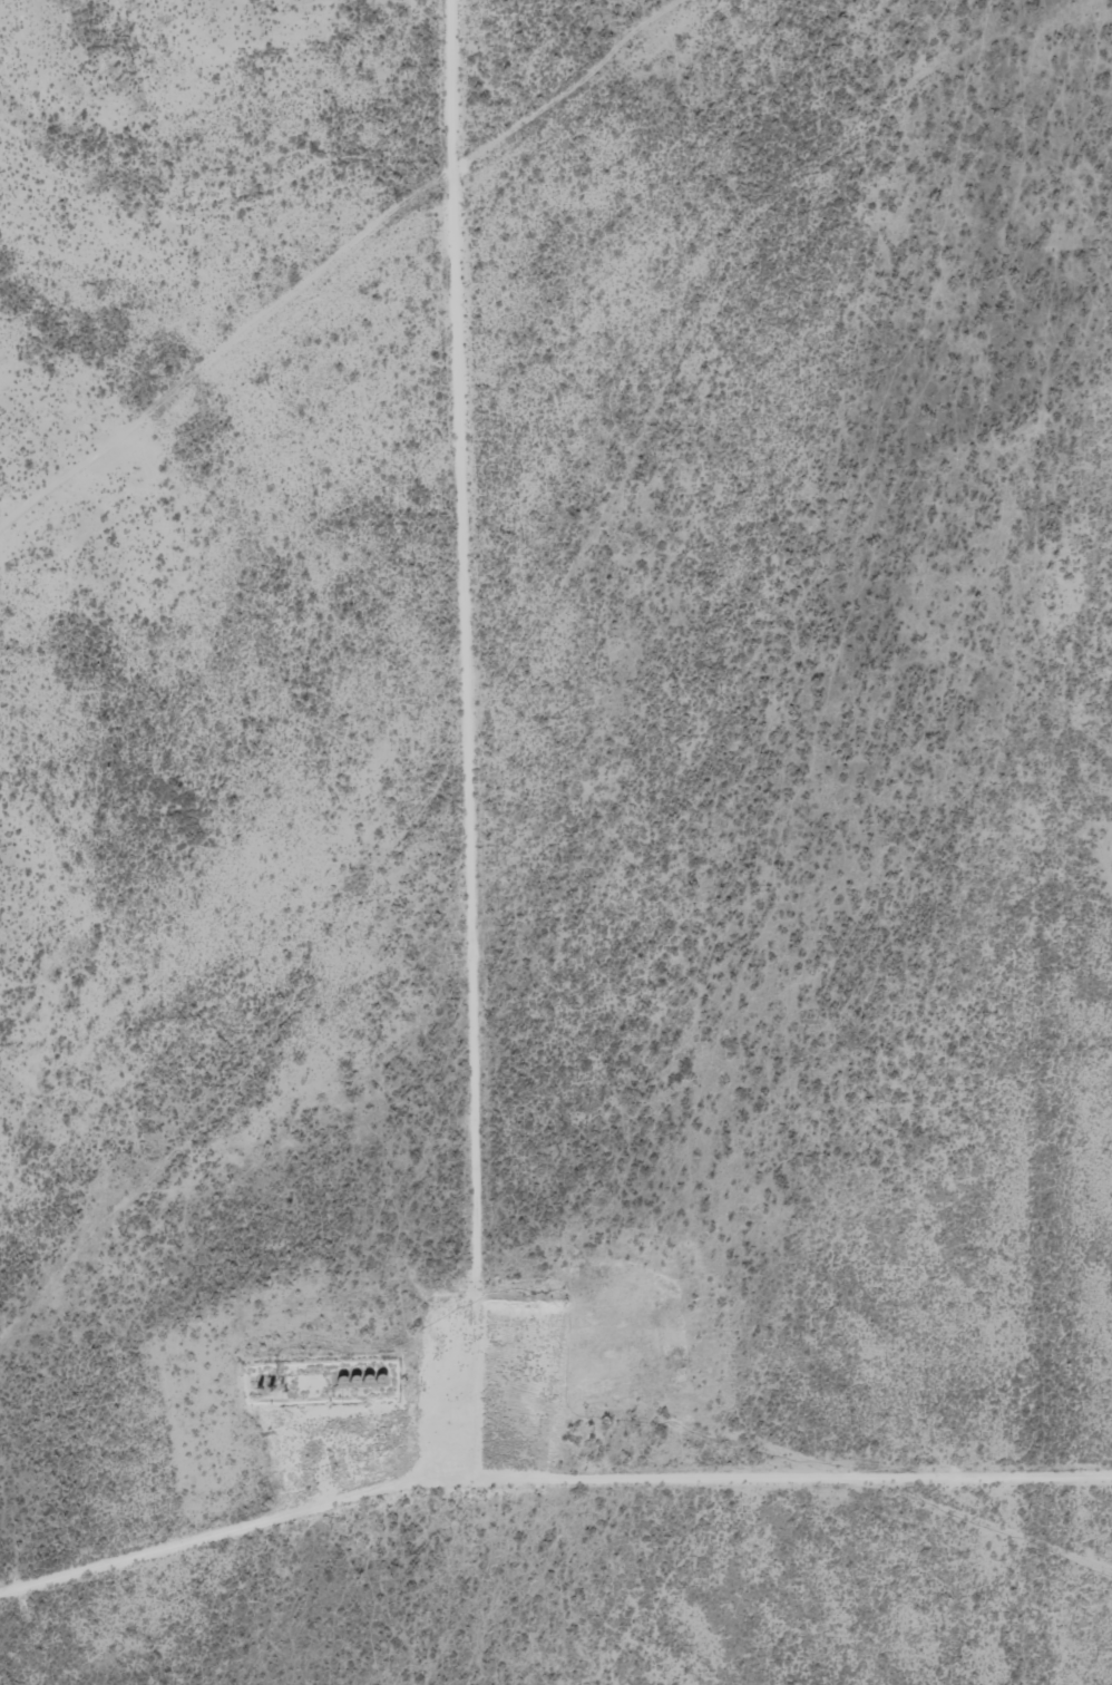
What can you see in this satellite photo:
road: (546, 1479)

